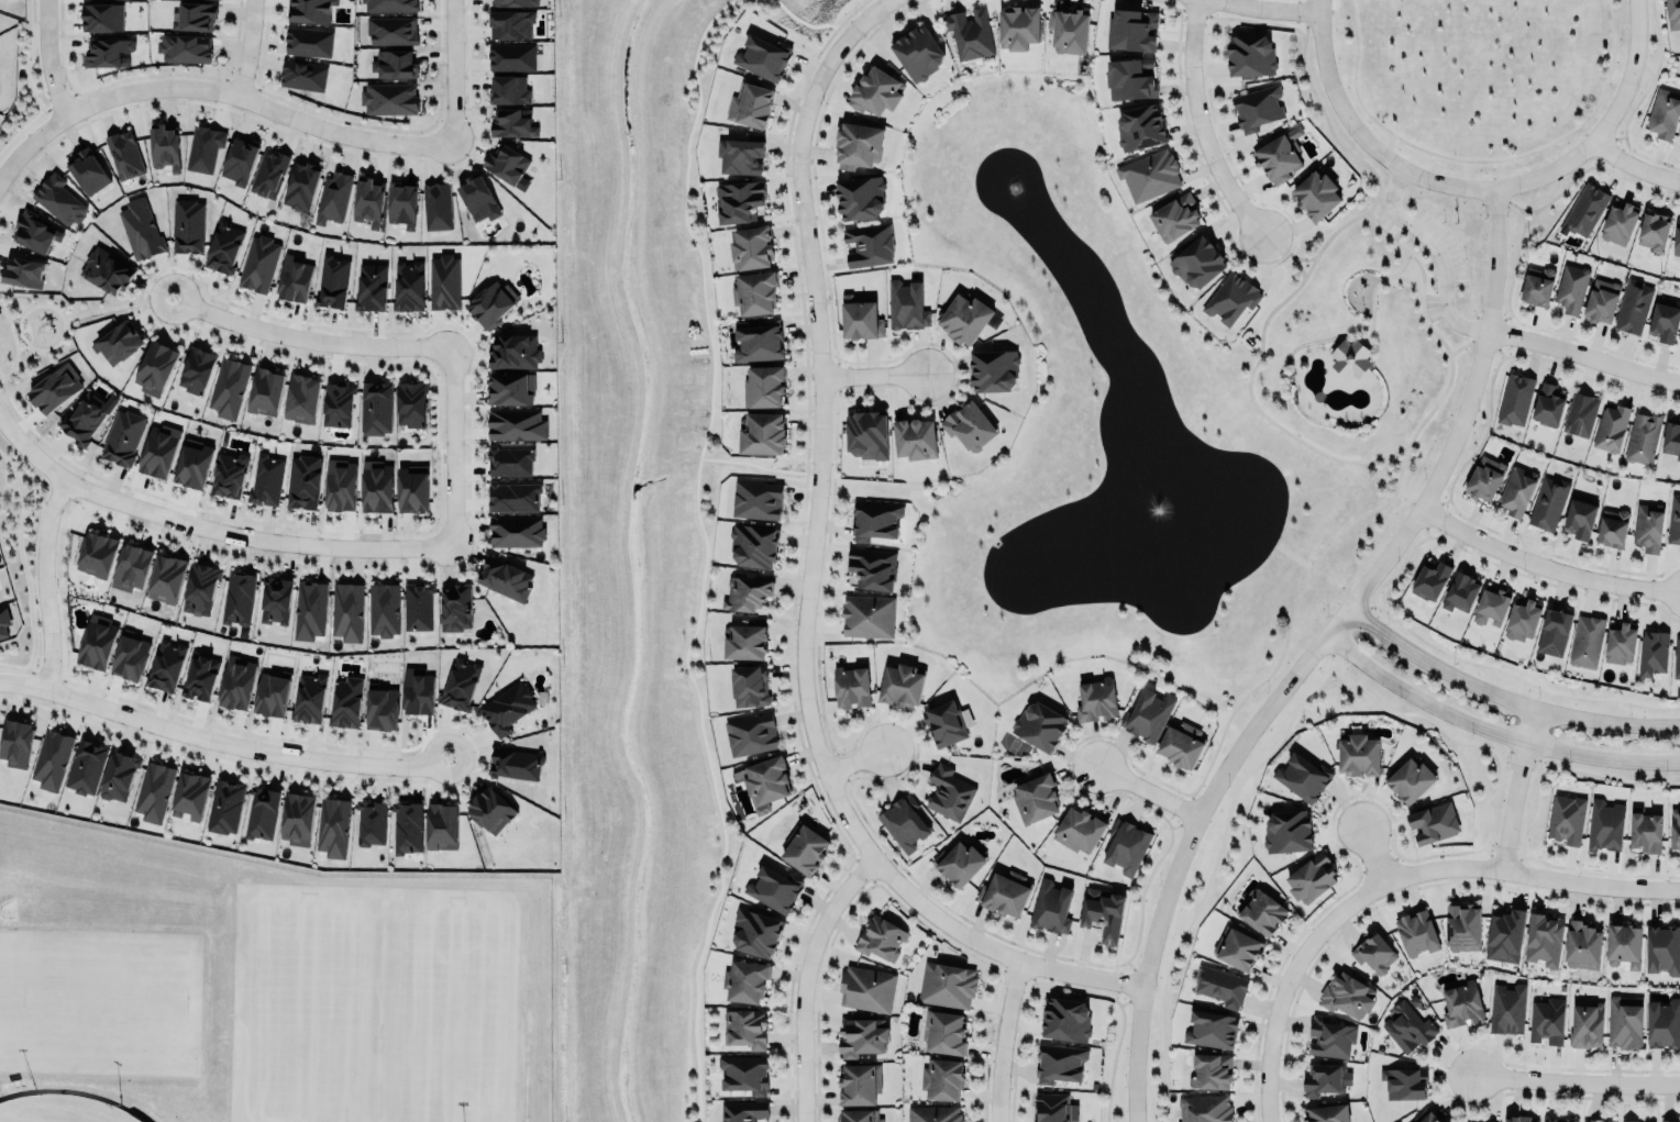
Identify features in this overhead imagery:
building: (515, 1)
building: (389, 4)
building: (310, 9)
road: (1252, 12)
building: (1673, 14)
building: (194, 15)
building: (101, 16)
building: (510, 22)
building: (1018, 24)
building: (1068, 27)
building: (391, 29)
building: (1130, 29)
building: (969, 32)
building: (308, 40)
building: (185, 46)
park: (1479, 46)
road: (245, 48)
building: (107, 51)
building: (914, 52)
building: (1247, 53)
building: (761, 55)
building: (510, 56)
road: (47, 62)
building: (394, 63)
building: (1137, 70)
road: (453, 71)
building: (302, 75)
building: (509, 89)
road: (214, 90)
building: (875, 90)
building: (388, 97)
building: (749, 107)
building: (1256, 107)
building: (1662, 112)
building: (512, 122)
road: (1200, 122)
building: (1137, 124)
road: (1605, 125)
road: (1360, 136)
building: (858, 143)
building: (164, 146)
building: (203, 147)
building: (123, 153)
building: (739, 154)
building: (1276, 158)
building: (237, 160)
building: (508, 166)
road: (1634, 166)
building: (86, 170)
building: (268, 171)
building: (1148, 175)
building: (300, 185)
building: (1315, 195)
building: (332, 197)
building: (478, 197)
building: (861, 197)
fountain: (1016, 197)
building: (58, 198)
building: (739, 199)
building: (367, 200)
building: (401, 202)
building: (436, 204)
building: (1585, 209)
building: (1174, 215)
building: (1617, 222)
building: (187, 224)
building: (140, 227)
building: (34, 231)
building: (1653, 231)
building: (1676, 242)
building: (869, 243)
building: (223, 246)
building: (751, 246)
road: (1439, 253)
parking lot: (1446, 259)
building: (1194, 262)
building: (257, 263)
road: (1403, 264)
building: (22, 270)
building: (106, 270)
building: (294, 279)
building: (332, 280)
building: (443, 280)
building: (407, 285)
building: (371, 286)
road: (1374, 286)
building: (1570, 288)
building: (1536, 289)
building: (753, 291)
building: (1231, 297)
building: (1601, 300)
building: (491, 303)
building: (906, 303)
road: (117, 306)
building: (1633, 306)
building: (860, 316)
building: (964, 316)
road: (60, 320)
building: (1664, 321)
road: (14, 332)
road: (1438, 336)
building: (756, 341)
road: (1468, 341)
building: (118, 343)
road: (13, 344)
road: (412, 346)
building: (1679, 346)
building: (513, 351)
road: (1583, 356)
building: (1350, 358)
building: (155, 367)
building: (196, 368)
building: (991, 368)
road: (872, 377)
building: (762, 385)
building: (228, 386)
building: (54, 387)
building: (510, 388)
building: (265, 390)
building: (301, 397)
building: (1515, 398)
building: (336, 402)
building: (410, 402)
building: (1547, 406)
building: (375, 407)
building: (1580, 414)
building: (86, 415)
building: (516, 423)
building: (970, 427)
building: (1611, 427)
building: (762, 432)
building: (866, 433)
building: (123, 436)
building: (915, 437)
building: (1643, 437)
building: (1671, 437)
building: (159, 449)
building: (509, 459)
building: (192, 465)
building: (229, 474)
building: (265, 478)
road: (1380, 478)
building: (1484, 478)
building: (302, 480)
building: (339, 482)
building: (376, 486)
building: (411, 489)
building: (1517, 490)
building: (512, 495)
building: (756, 499)
building: (1548, 503)
building: (1580, 516)
building: (874, 519)
building: (1673, 519)
building: (1647, 525)
building: (1612, 527)
road: (211, 530)
fountain: (1160, 530)
building: (516, 531)
building: (753, 543)
building: (97, 554)
building: (131, 566)
road: (1544, 566)
building: (870, 570)
road: (808, 574)
building: (166, 577)
building: (505, 578)
building: (1430, 579)
road: (45, 582)
building: (200, 587)
building: (745, 591)
building: (1460, 592)
building: (239, 597)
building: (275, 599)
building: (417, 604)
building: (1491, 606)
building: (309, 608)
building: (384, 608)
building: (455, 608)
building: (346, 611)
building: (867, 615)
building: (1522, 619)
building: (3, 621)
building: (1554, 632)
building: (97, 640)
building: (1587, 640)
building: (743, 641)
building: (1621, 643)
building: (1653, 652)
road: (1311, 653)
building: (130, 656)
building: (1677, 657)
building: (166, 665)
building: (200, 677)
building: (235, 682)
building: (460, 682)
building: (900, 684)
building: (749, 685)
building: (851, 685)
building: (417, 690)
building: (270, 692)
building: (309, 698)
building: (1096, 698)
road: (1503, 698)
building: (345, 701)
building: (507, 707)
building: (380, 709)
building: (1148, 714)
building: (947, 721)
building: (1040, 724)
road: (1490, 731)
building: (751, 733)
road: (220, 740)
building: (15, 742)
building: (1181, 744)
building: (1358, 754)
building: (51, 757)
road: (855, 762)
building: (516, 763)
building: (86, 765)
building: (119, 775)
building: (1302, 777)
building: (1410, 779)
building: (766, 781)
road: (1514, 789)
building: (154, 790)
building: (949, 791)
road: (1145, 791)
building: (190, 795)
building: (1035, 797)
building: (224, 806)
building: (490, 809)
building: (262, 811)
building: (298, 816)
building: (1566, 819)
building: (903, 820)
building: (371, 822)
building: (1434, 822)
building: (442, 824)
building: (1604, 824)
building: (333, 825)
building: (408, 825)
building: (1675, 827)
building: (1076, 830)
building: (1645, 830)
building: (1287, 831)
building: (1126, 845)
building: (804, 846)
road: (1372, 852)
building: (959, 862)
building: (1311, 877)
road: (1390, 879)
building: (766, 887)
building: (1004, 893)
building: (1054, 902)
building: (1102, 911)
building: (1261, 911)
building: (1462, 925)
building: (756, 931)
building: (1416, 931)
building: (1505, 934)
building: (881, 936)
building: (1544, 938)
building: (1581, 944)
building: (1624, 944)
building: (1237, 946)
building: (1662, 948)
building: (1374, 952)
building: (745, 980)
road: (807, 980)
building: (947, 984)
building: (1220, 984)
building: (866, 988)
building: (1346, 993)
building: (1461, 1004)
building: (1506, 1007)
building: (1546, 1018)
building: (1065, 1019)
building: (1624, 1021)
building: (1662, 1022)
building: (1587, 1024)
building: (1407, 1026)
building: (745, 1027)
building: (1212, 1027)
building: (943, 1031)
building: (862, 1036)
building: (1329, 1036)
road: (1002, 1038)
building: (1060, 1062)
building: (1211, 1070)
building: (745, 1071)
building: (928, 1079)
building: (1324, 1079)
road: (1581, 1079)
building: (1404, 1081)
building: (859, 1082)
building: (1053, 1107)
building: (1205, 1108)
building: (743, 1110)
building: (933, 1113)
building: (1327, 1113)
building: (855, 1115)
building: (1425, 1115)
building: (1518, 1118)
building: (1558, 1119)
building: (1598, 1120)
building: (1628, 1120)
building: (1445, 1121)
building: (1468, 1121)
building: (1649, 1121)
building: (1668, 1121)

